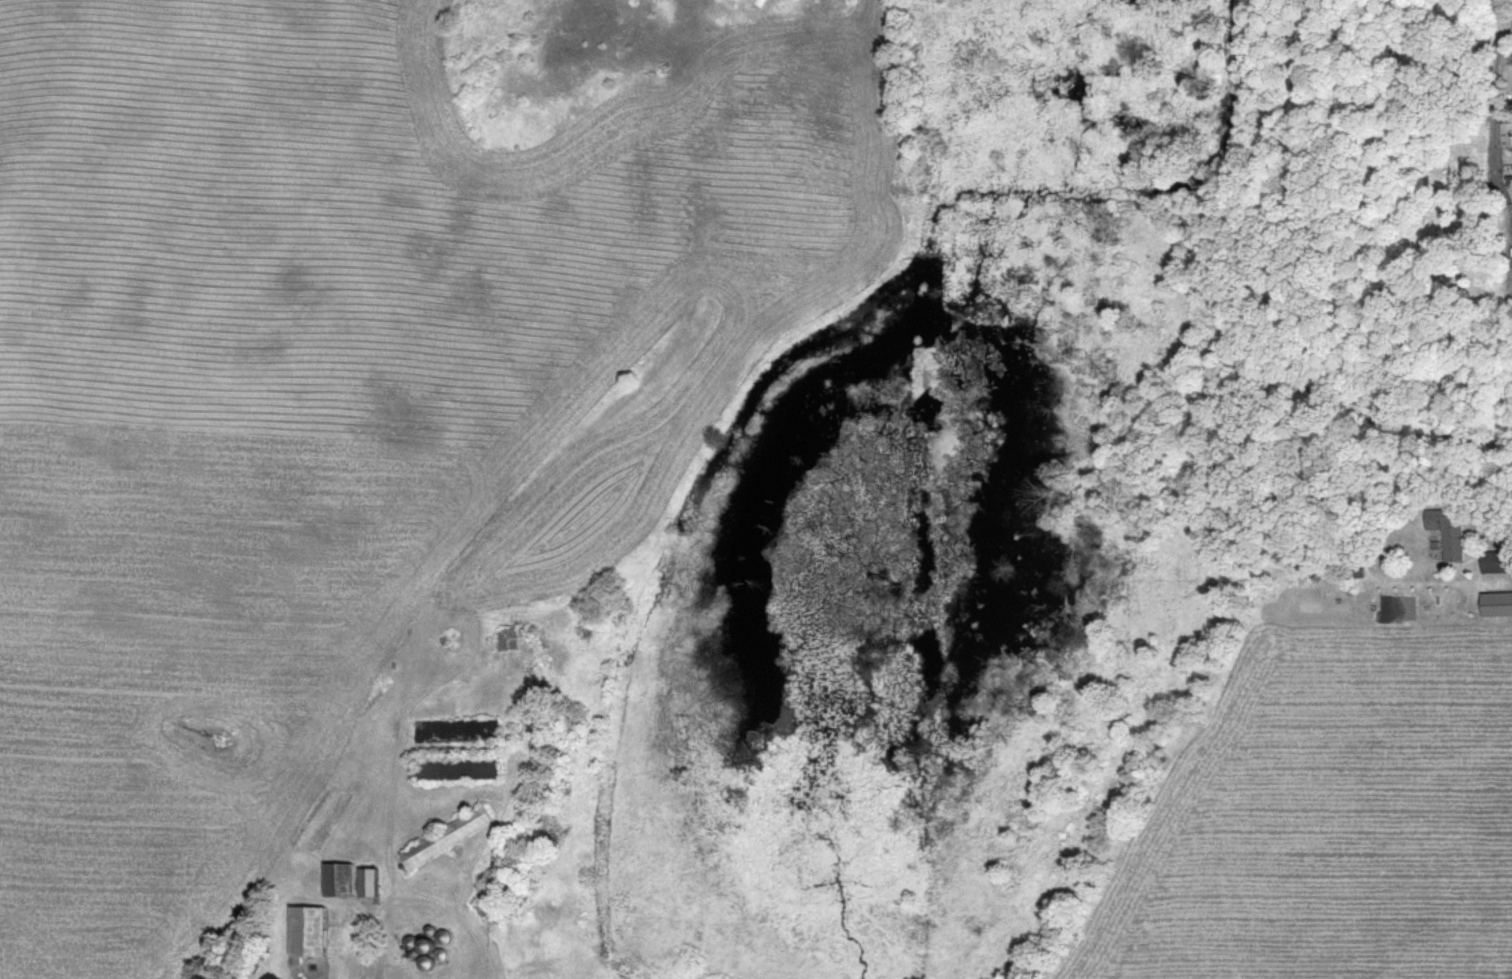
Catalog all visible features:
building: (1509, 132)
crop: (347, 392)
building: (1450, 532)
road: (1496, 534)
building: (1494, 560)
building: (1497, 602)
building: (509, 637)
building: (458, 729)
building: (459, 766)
building: (446, 835)
building: (339, 877)
building: (368, 880)
road: (425, 893)
building: (308, 929)
building: (444, 935)

